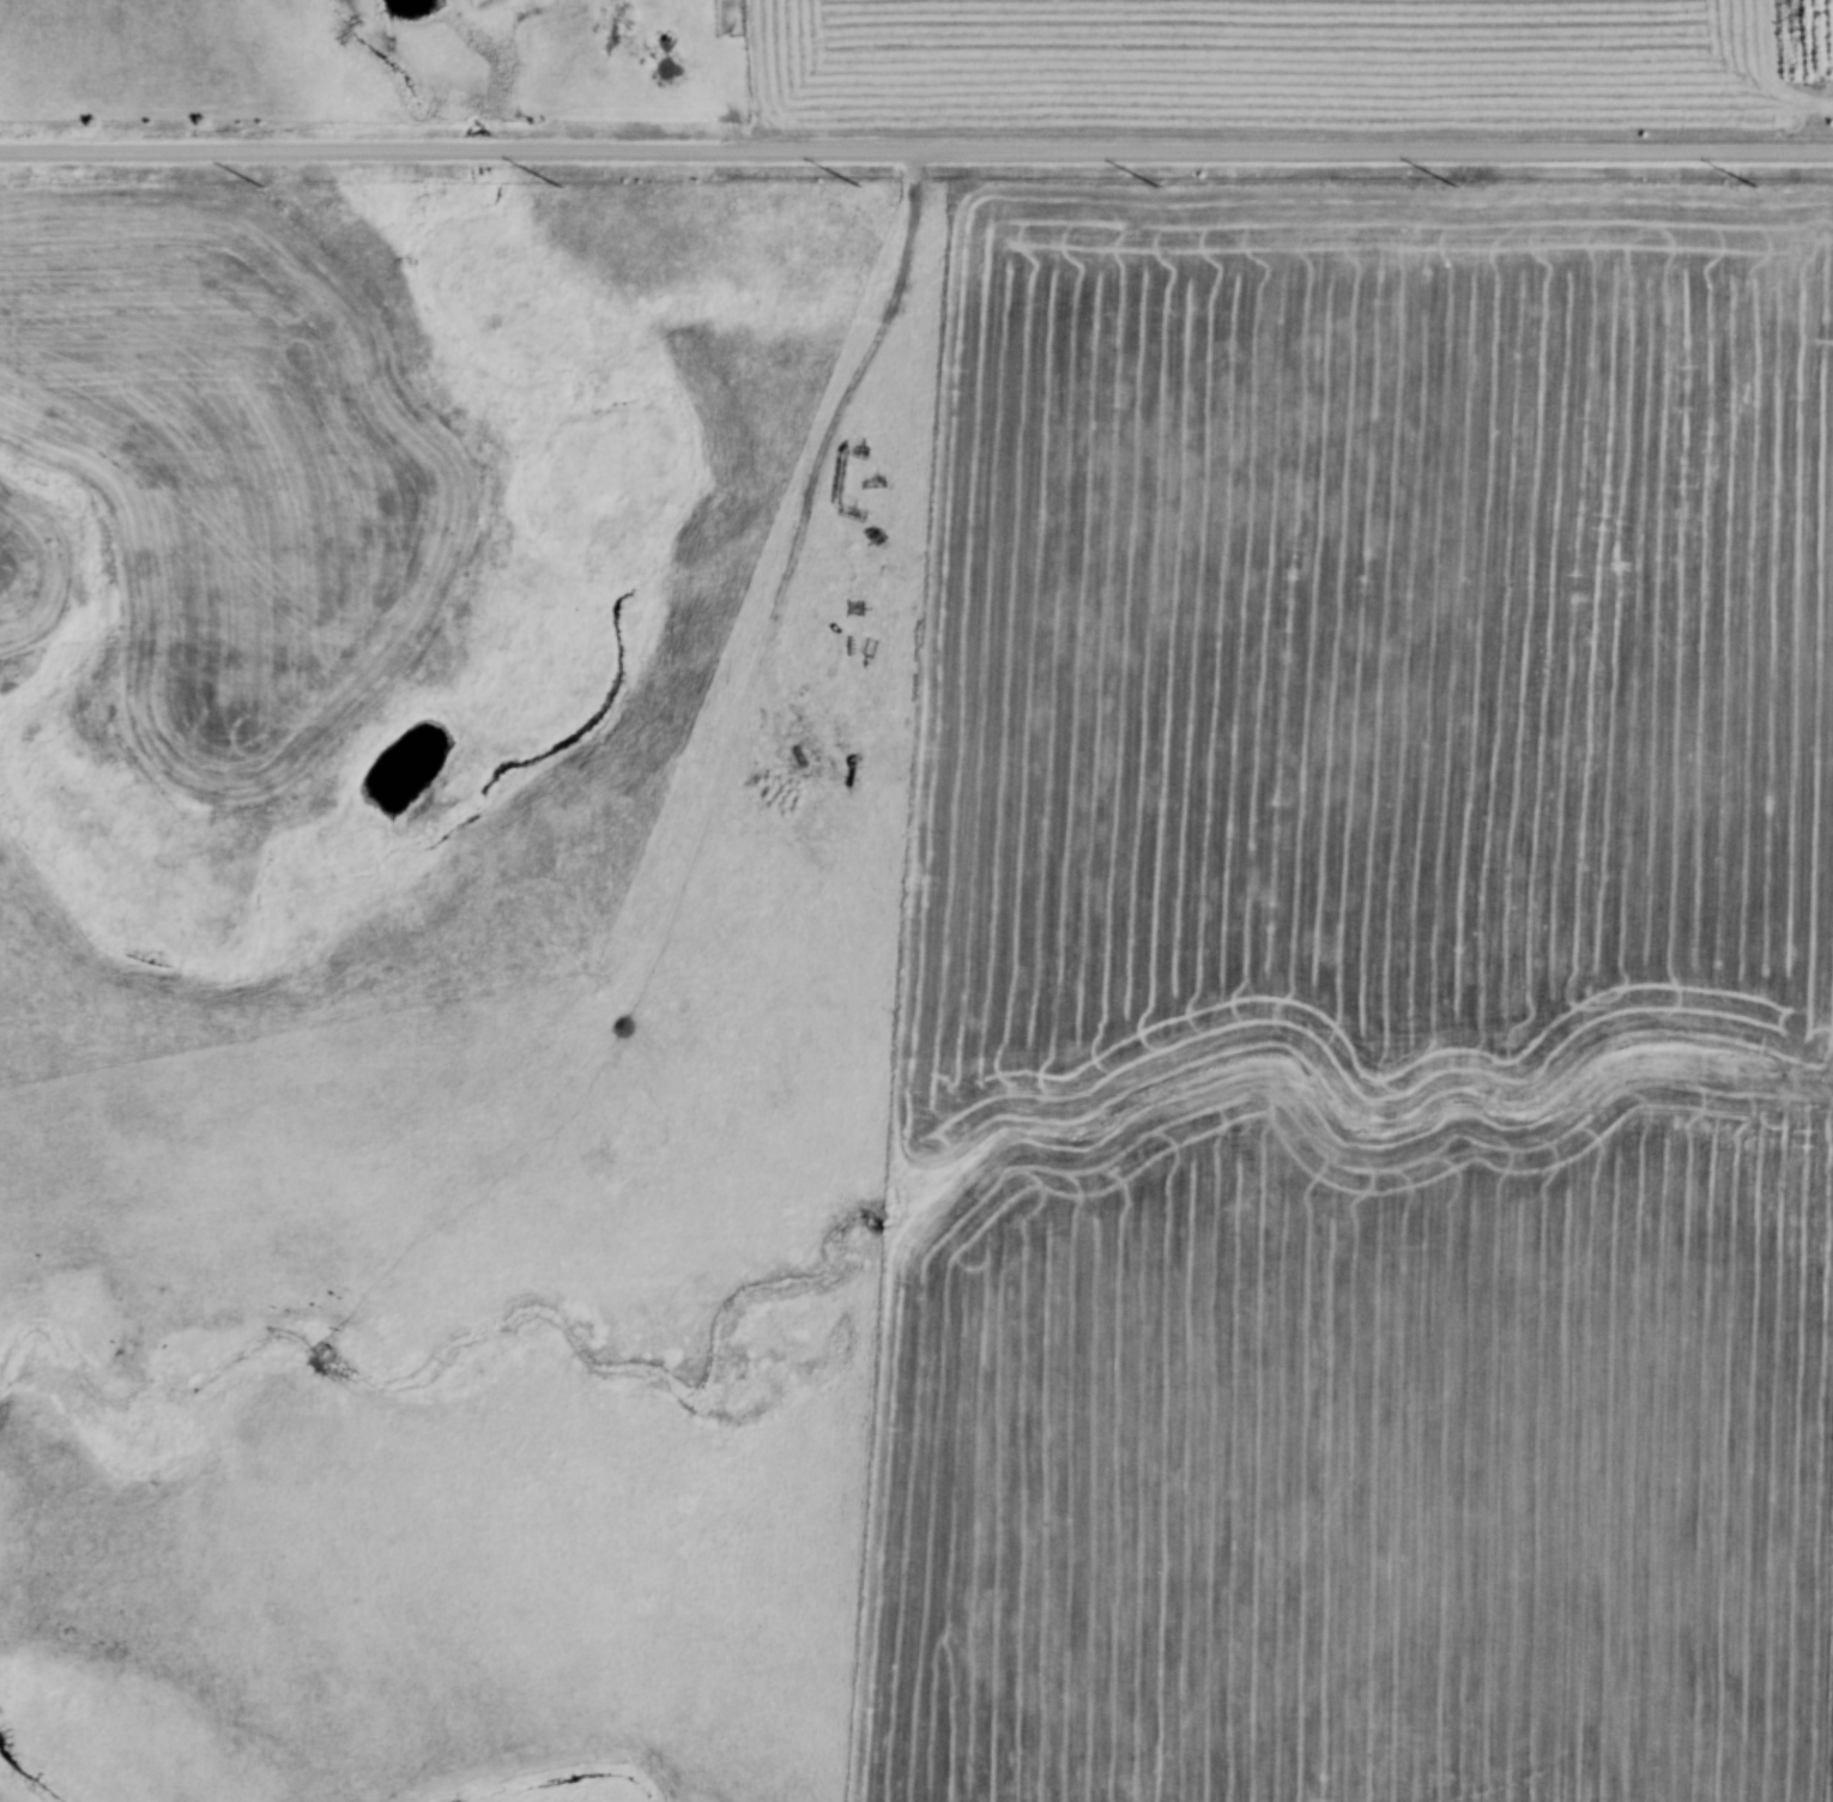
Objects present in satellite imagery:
road: (915, 152)

